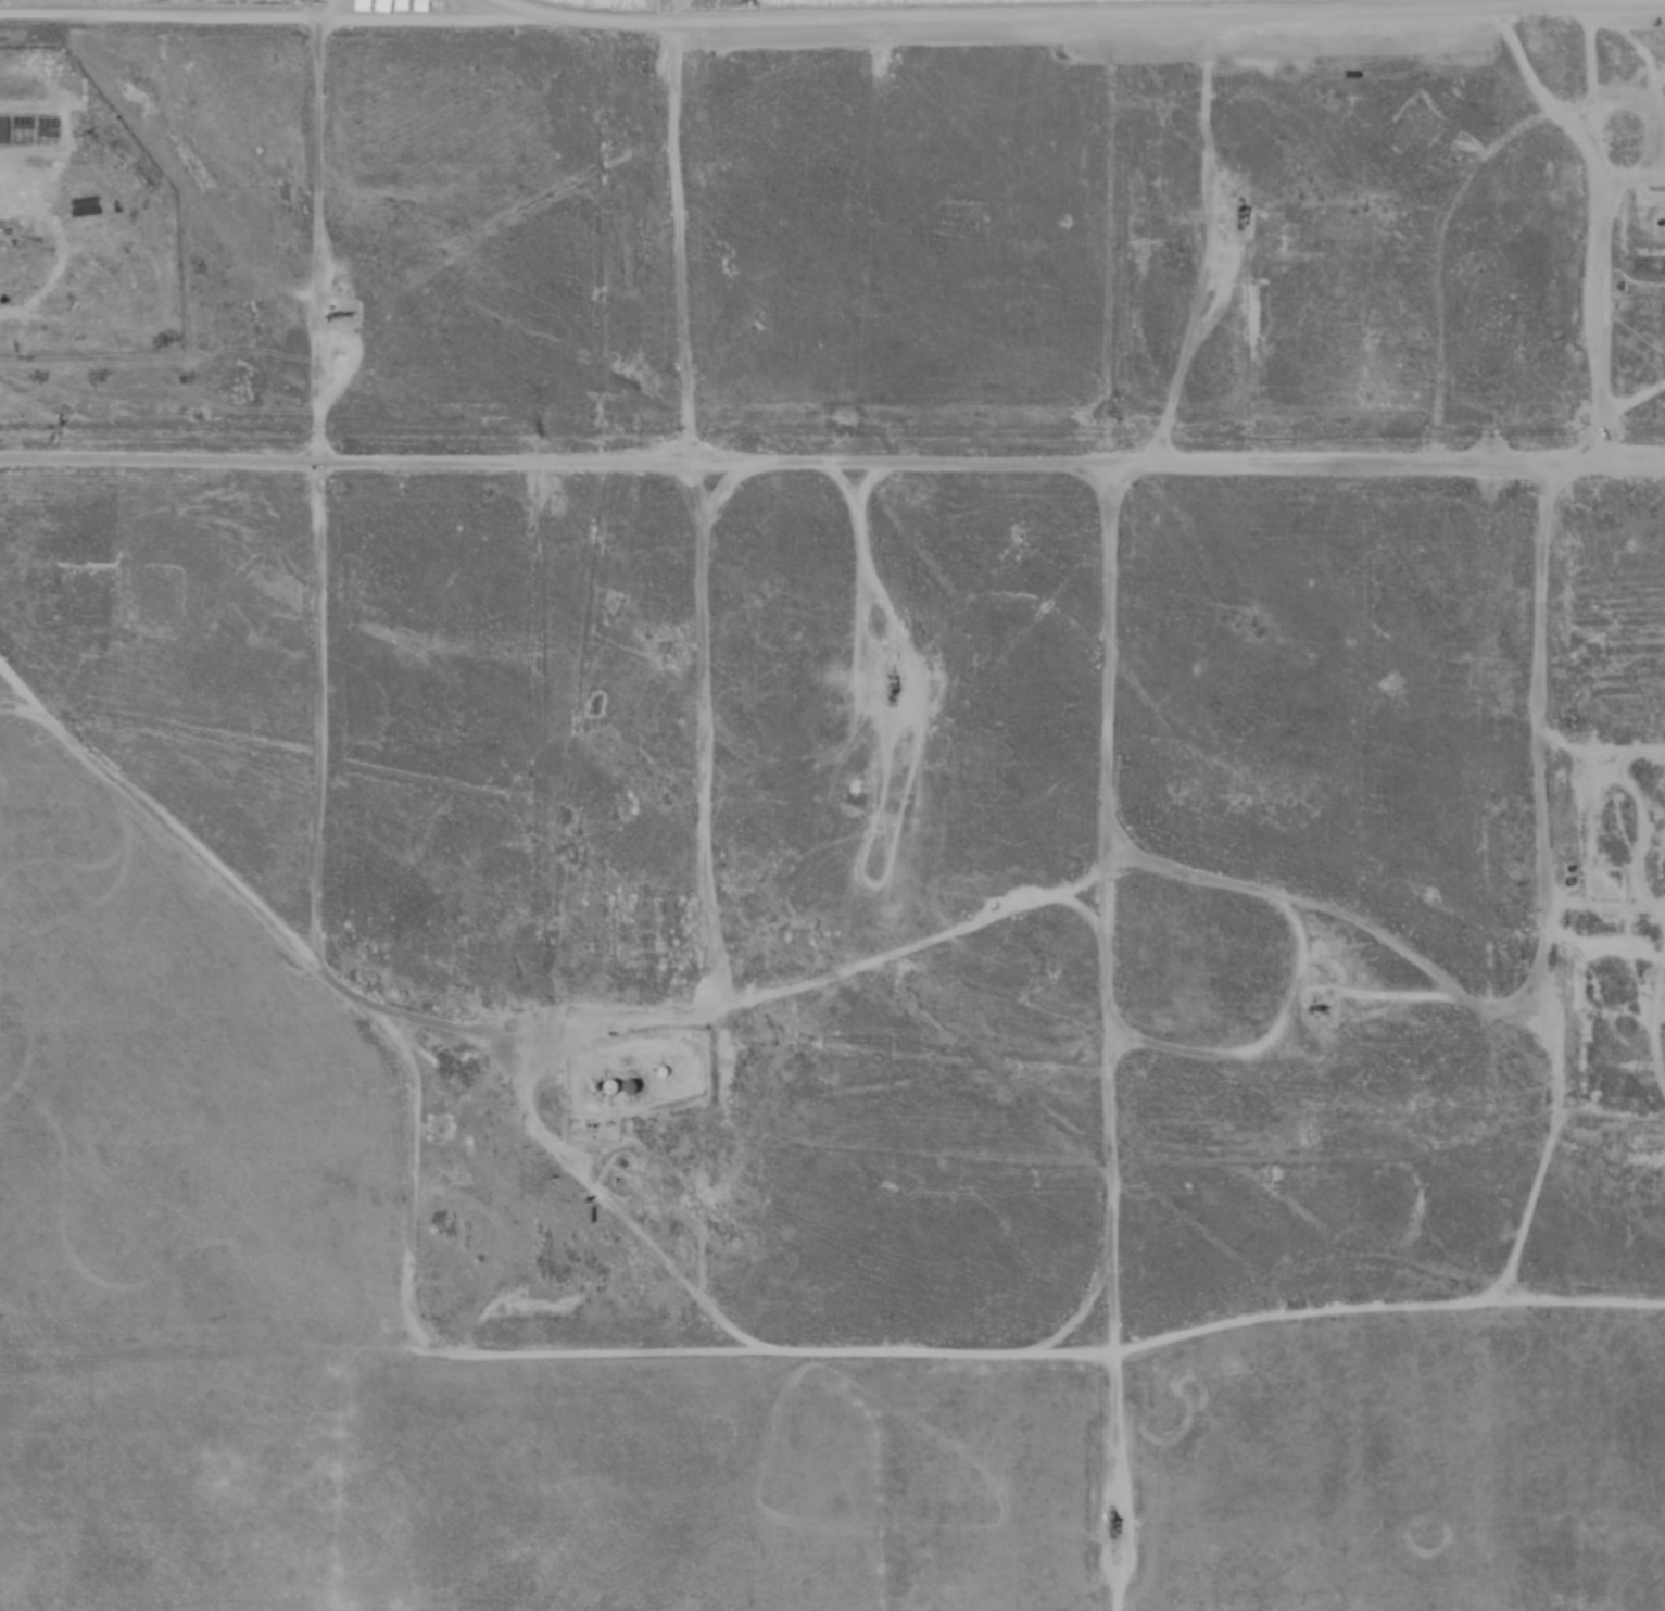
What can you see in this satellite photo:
road: (1488, 114)
road: (161, 458)
road: (993, 461)
road: (18, 688)
crop: (832, 805)
road: (169, 822)
road: (1387, 1306)
road: (517, 1352)
road: (1113, 1481)

